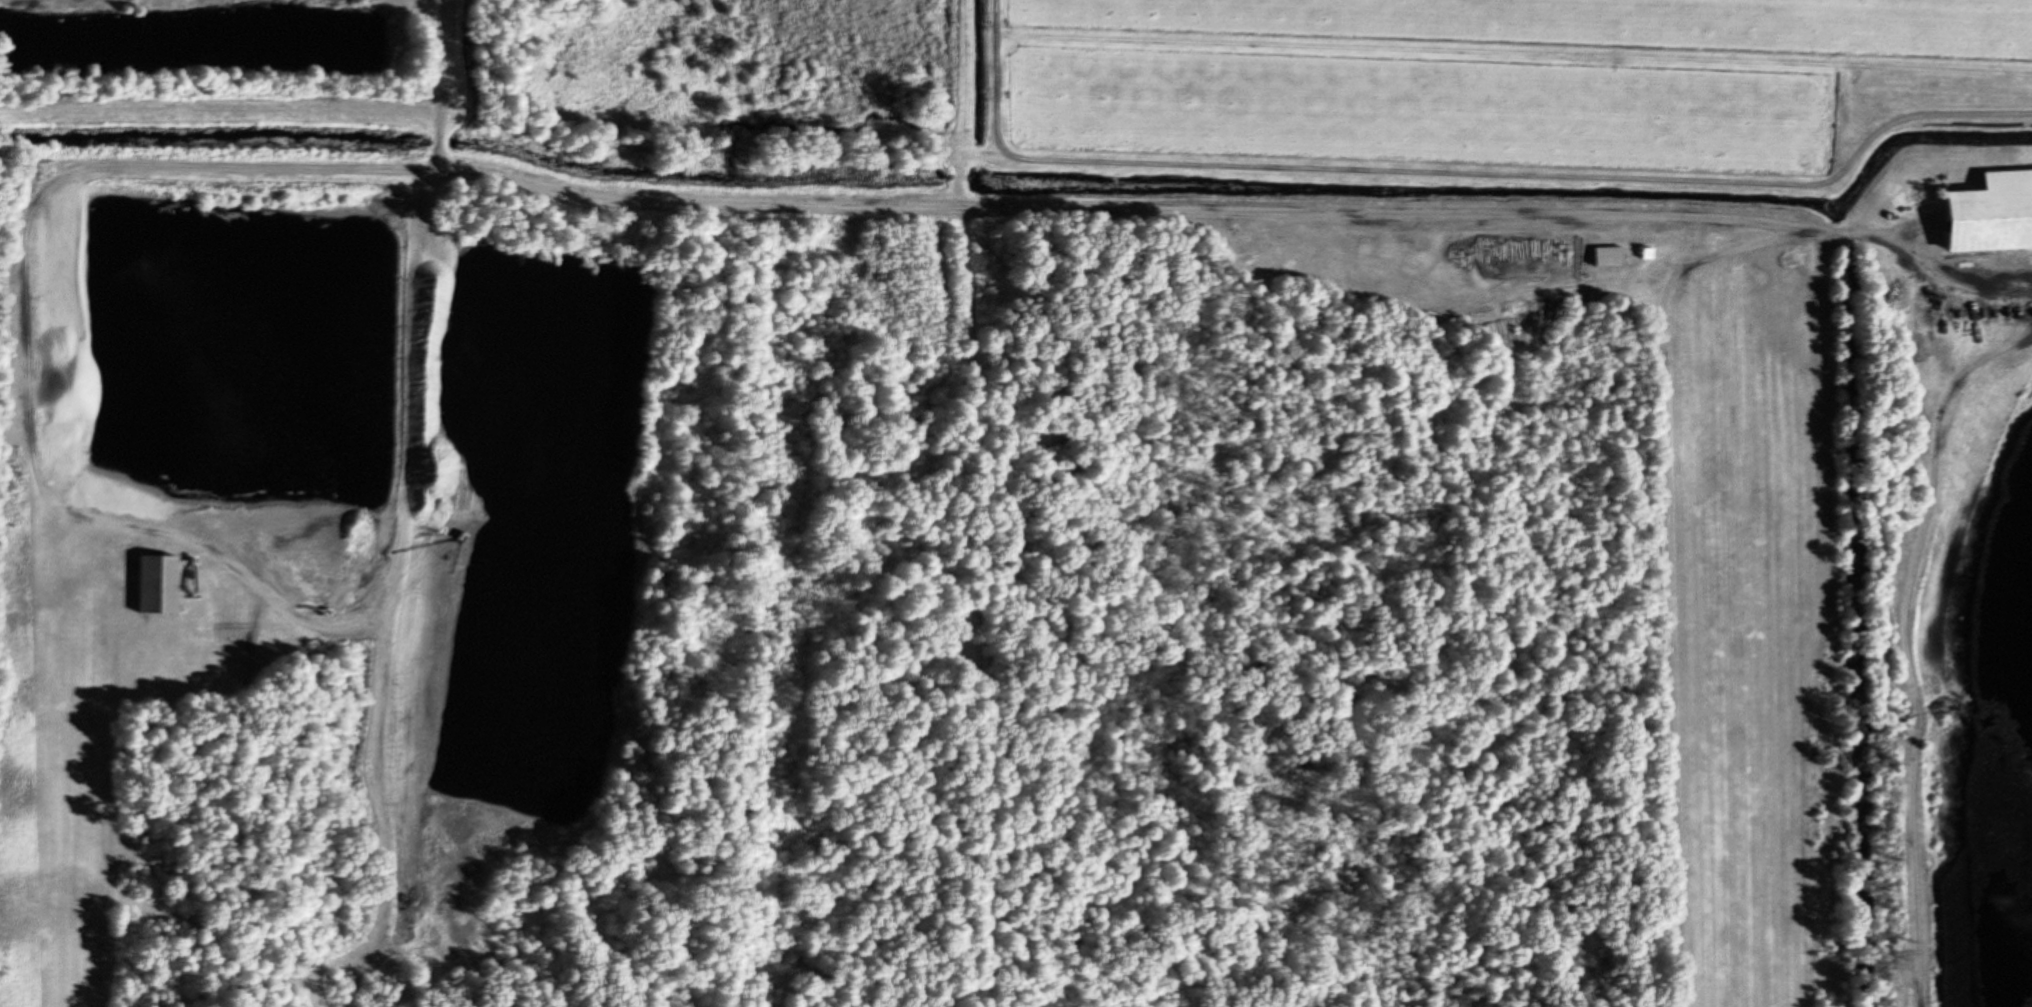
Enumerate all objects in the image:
crop: (1484, 97)
building: (1987, 211)
building: (1605, 254)
building: (151, 581)
airport runway: (1752, 633)

